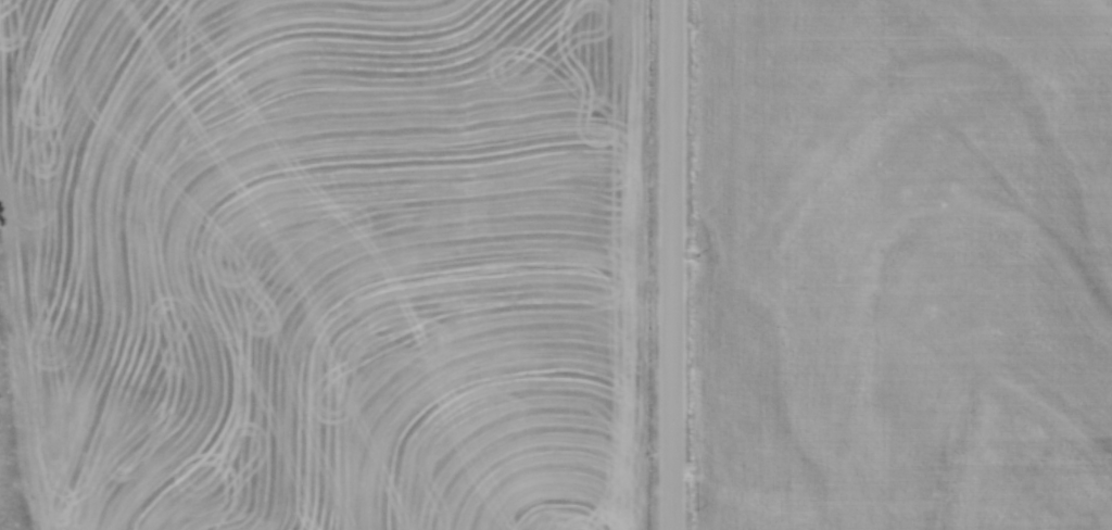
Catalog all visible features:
road: (675, 265)

